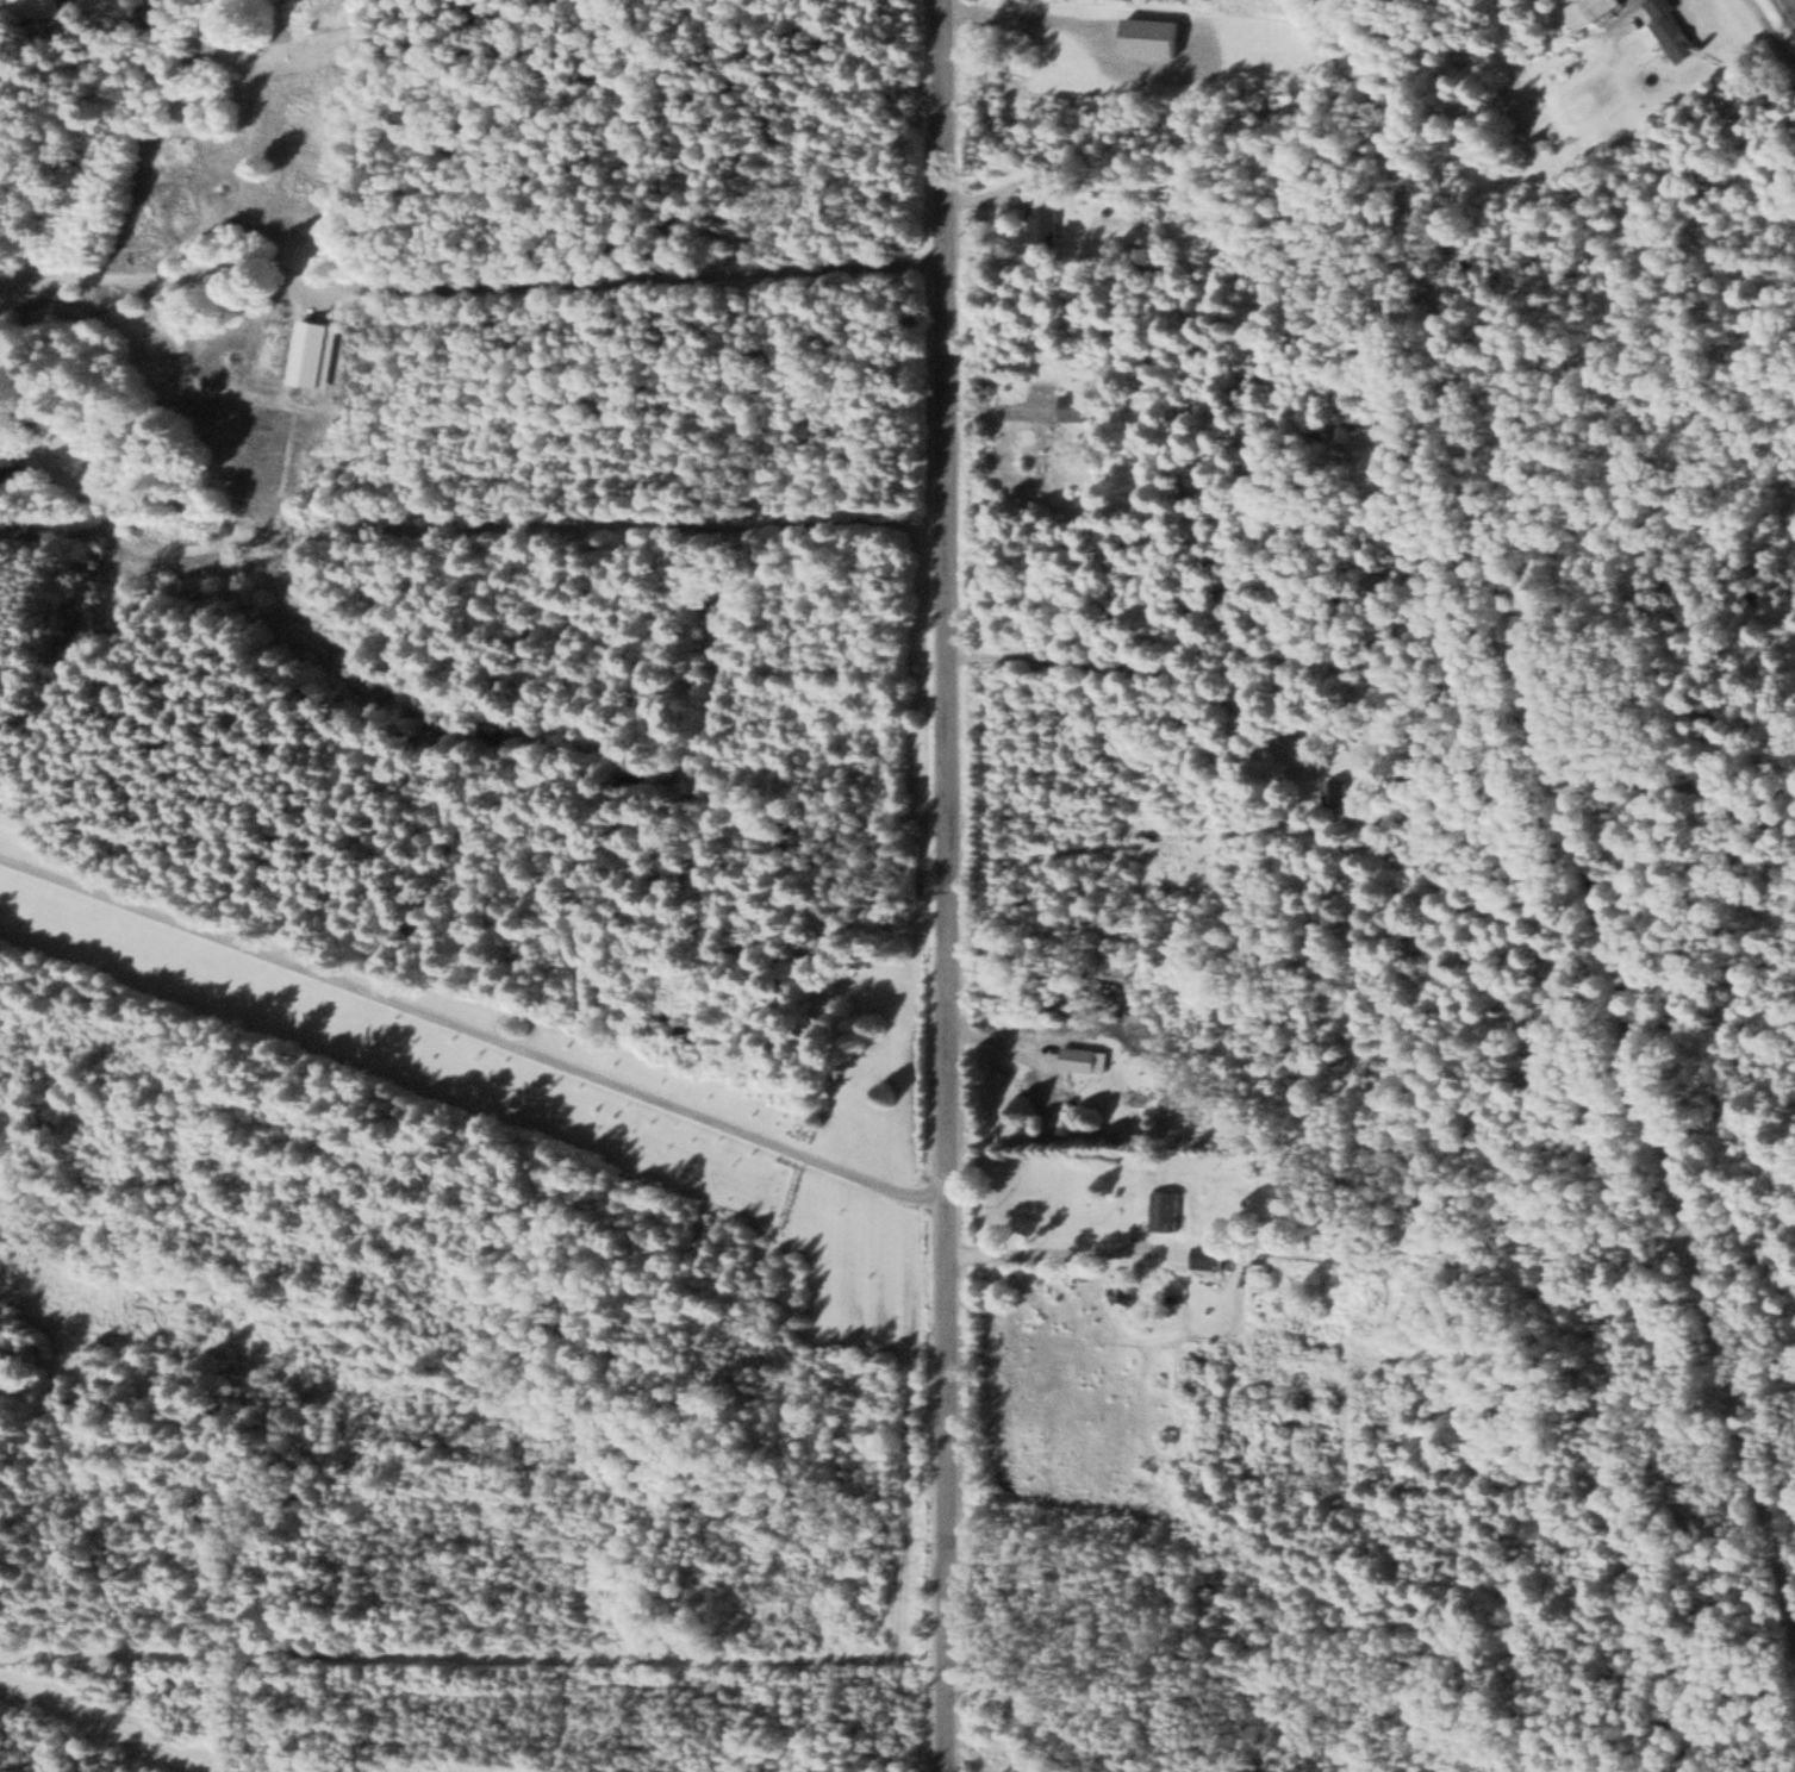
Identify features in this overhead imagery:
road: (1791, 4)
building: (1587, 11)
building: (1670, 30)
building: (1151, 36)
building: (1042, 218)
road: (467, 267)
building: (1073, 407)
building: (7, 464)
road: (1575, 803)
road: (941, 886)
road: (469, 1028)
road: (996, 1038)
building: (1074, 1059)
building: (1055, 1104)
building: (1161, 1210)
building: (1205, 1247)
building: (1121, 1292)

